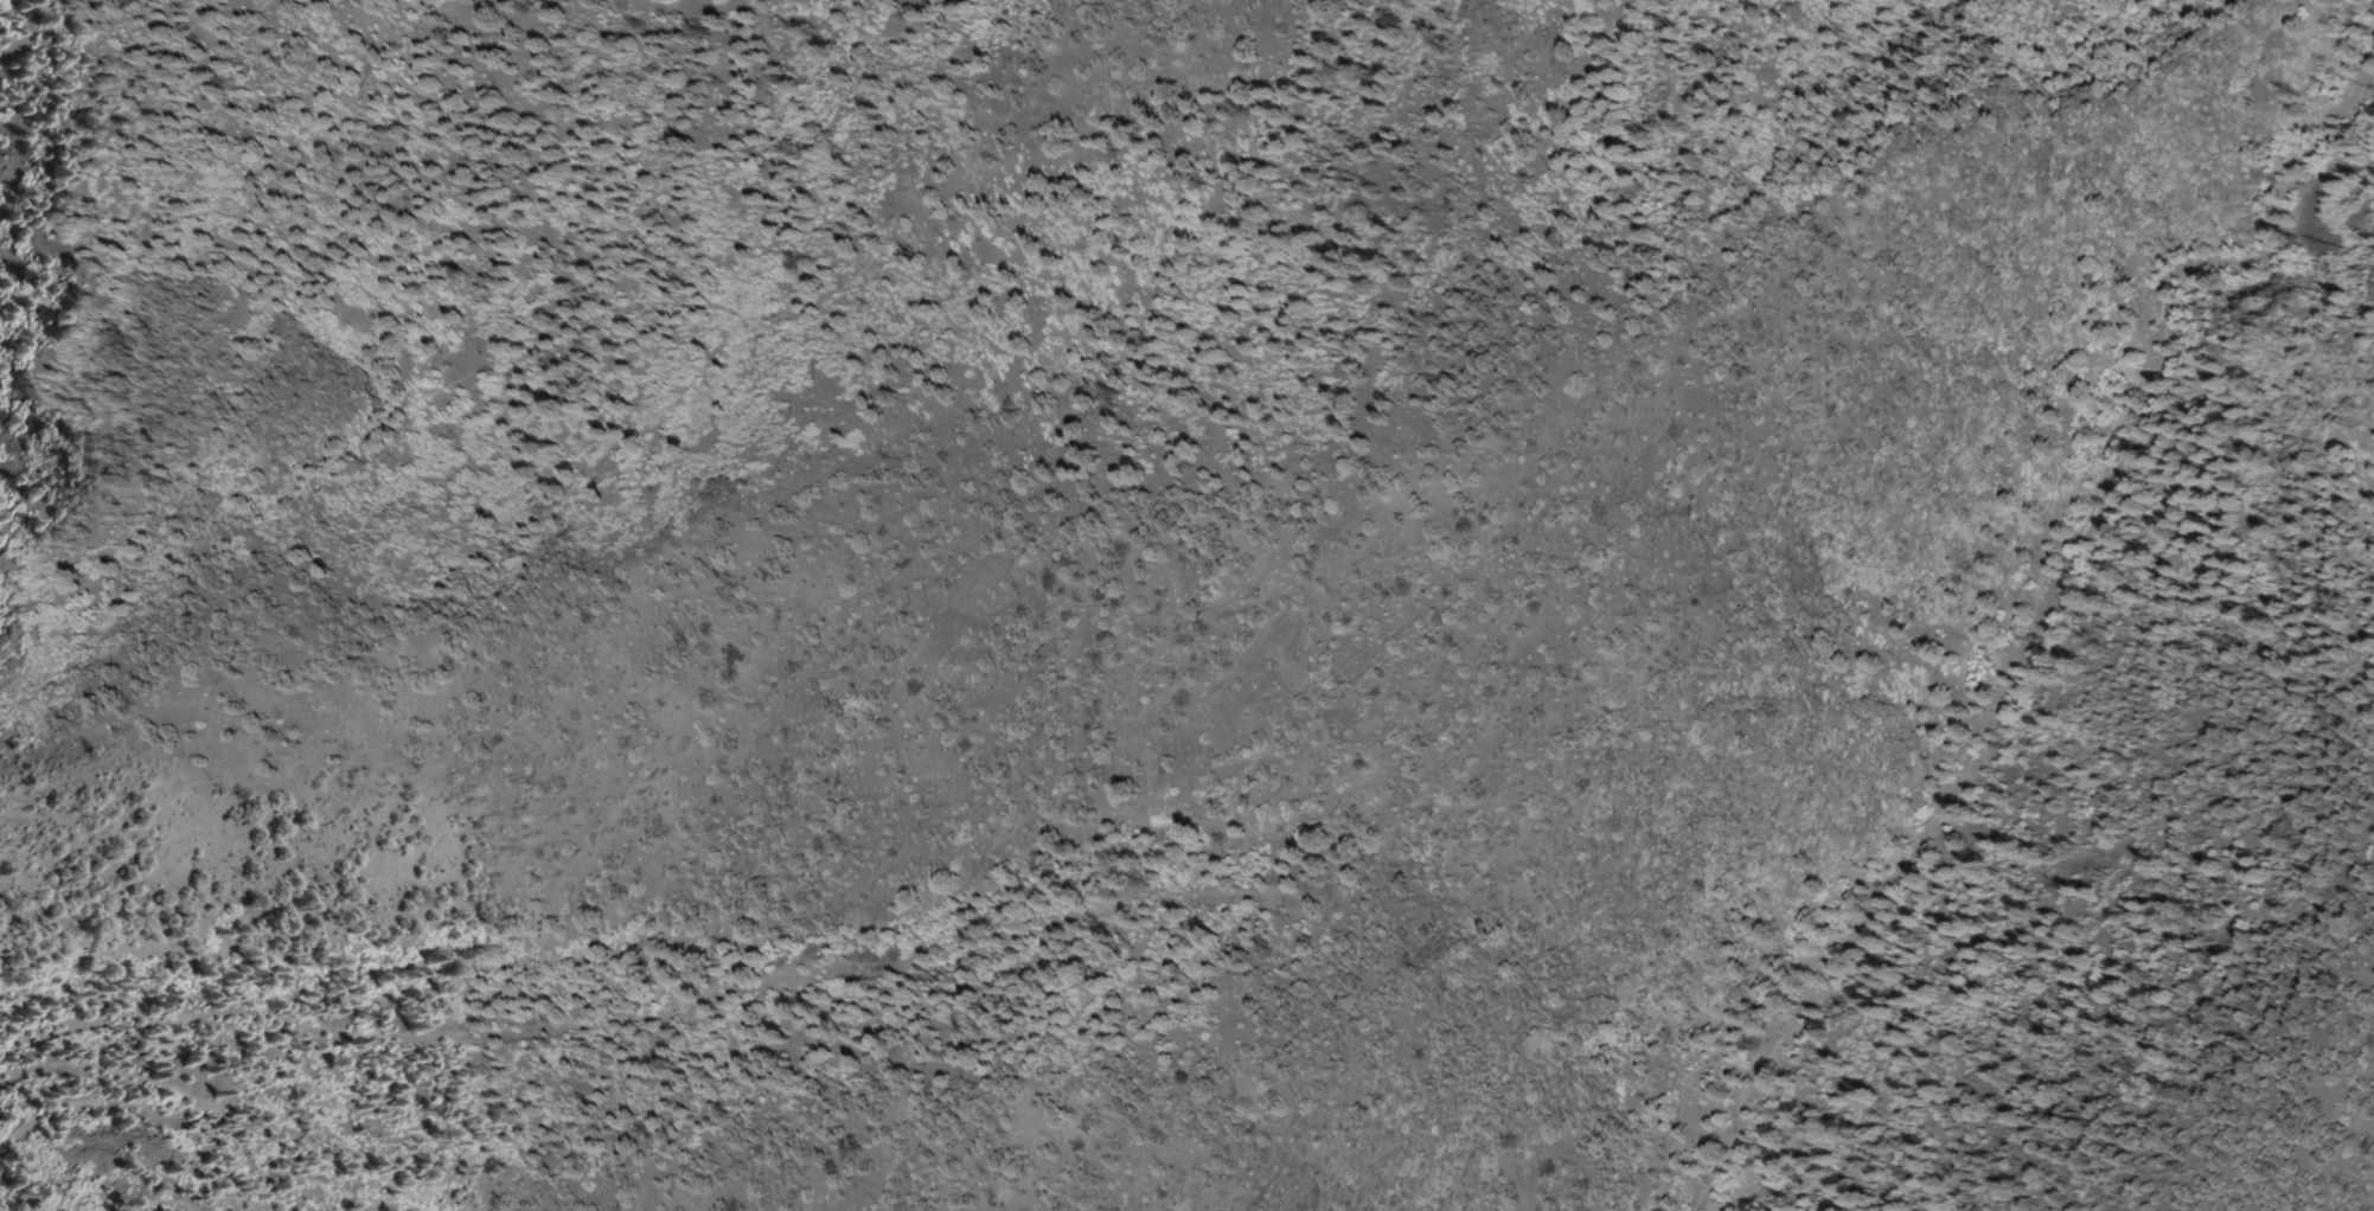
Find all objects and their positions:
road: (1997, 623)
road: (659, 1014)
road: (197, 1108)

